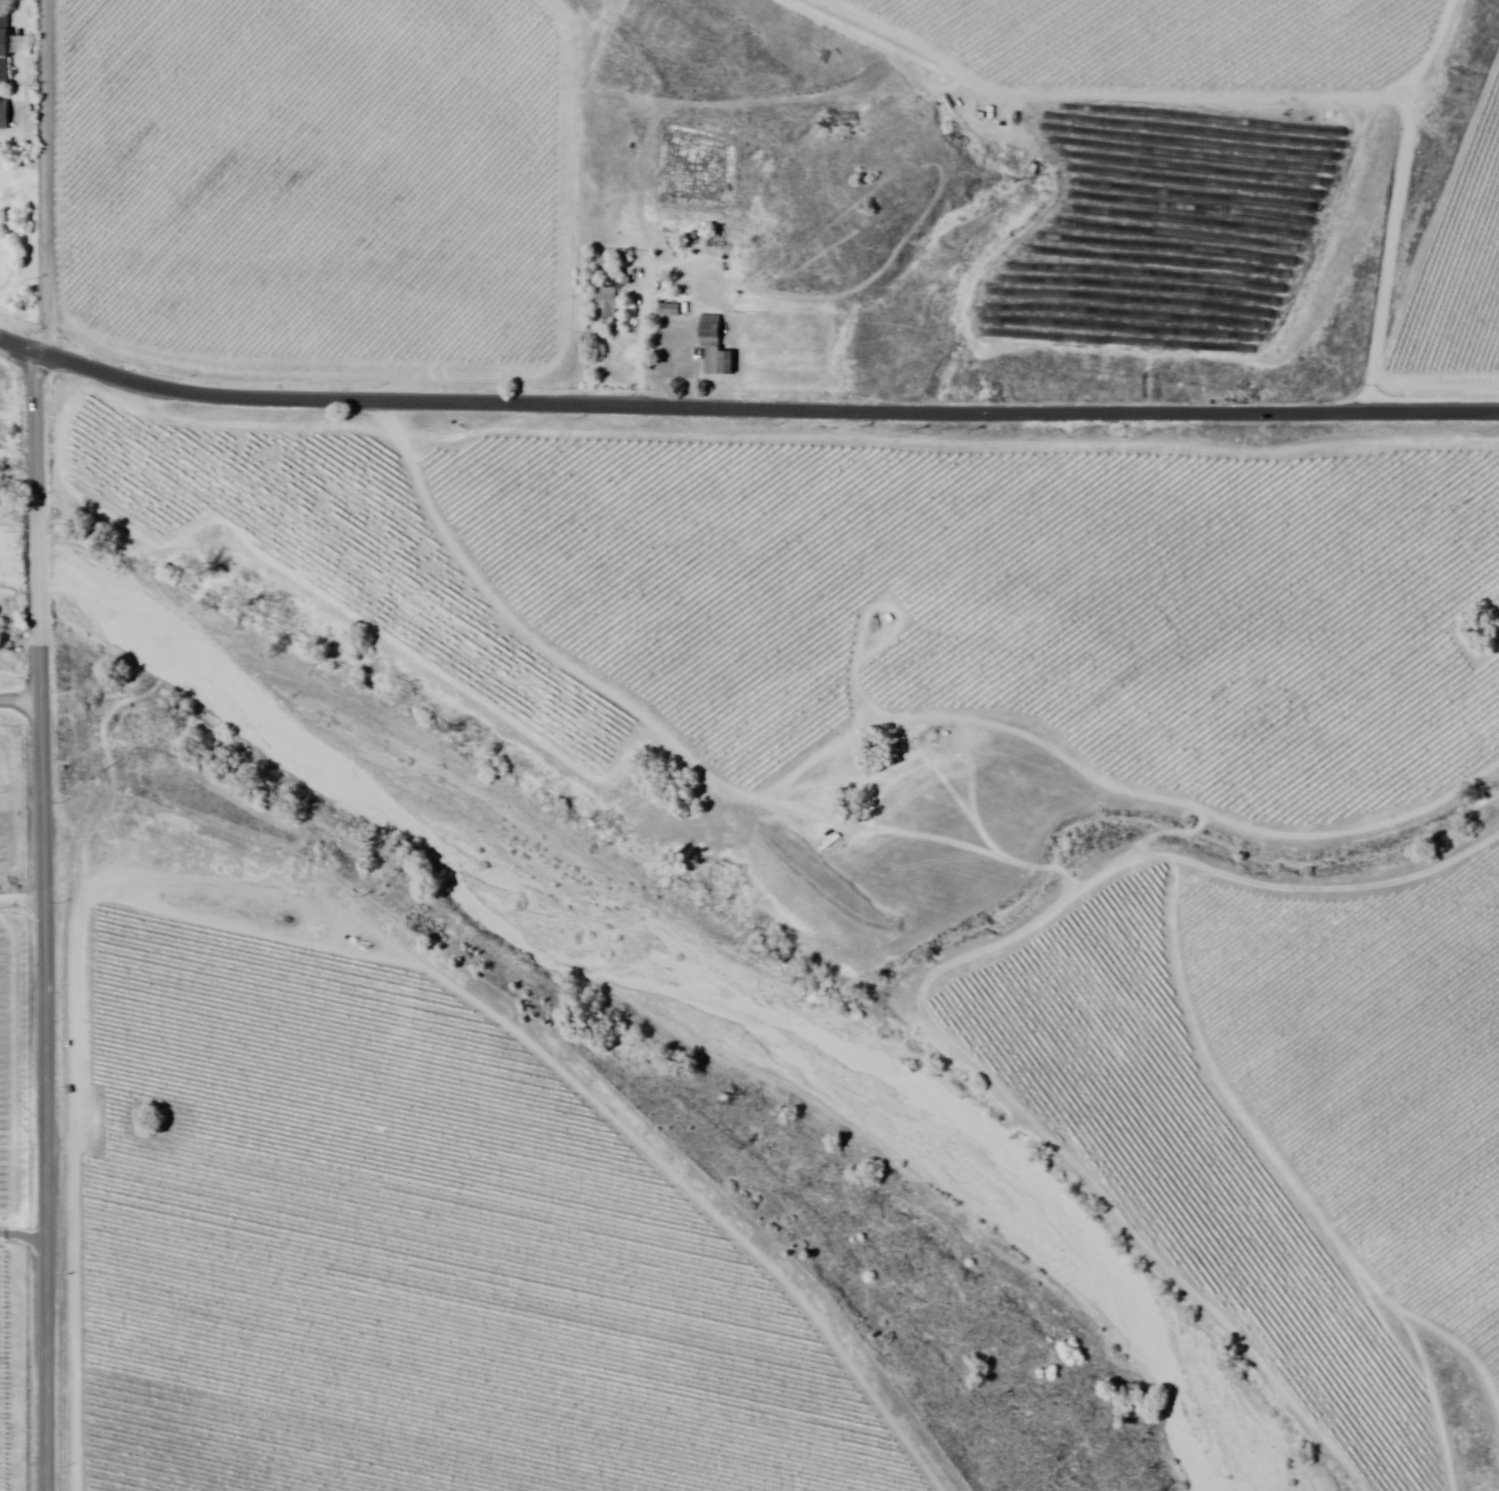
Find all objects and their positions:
building: (6, 50)
storage tank: (32, 109)
building: (5, 115)
building: (608, 303)
building: (668, 310)
building: (715, 344)
road: (745, 407)
river: (350, 729)
road: (21, 896)
road: (42, 919)
river: (1011, 1169)

